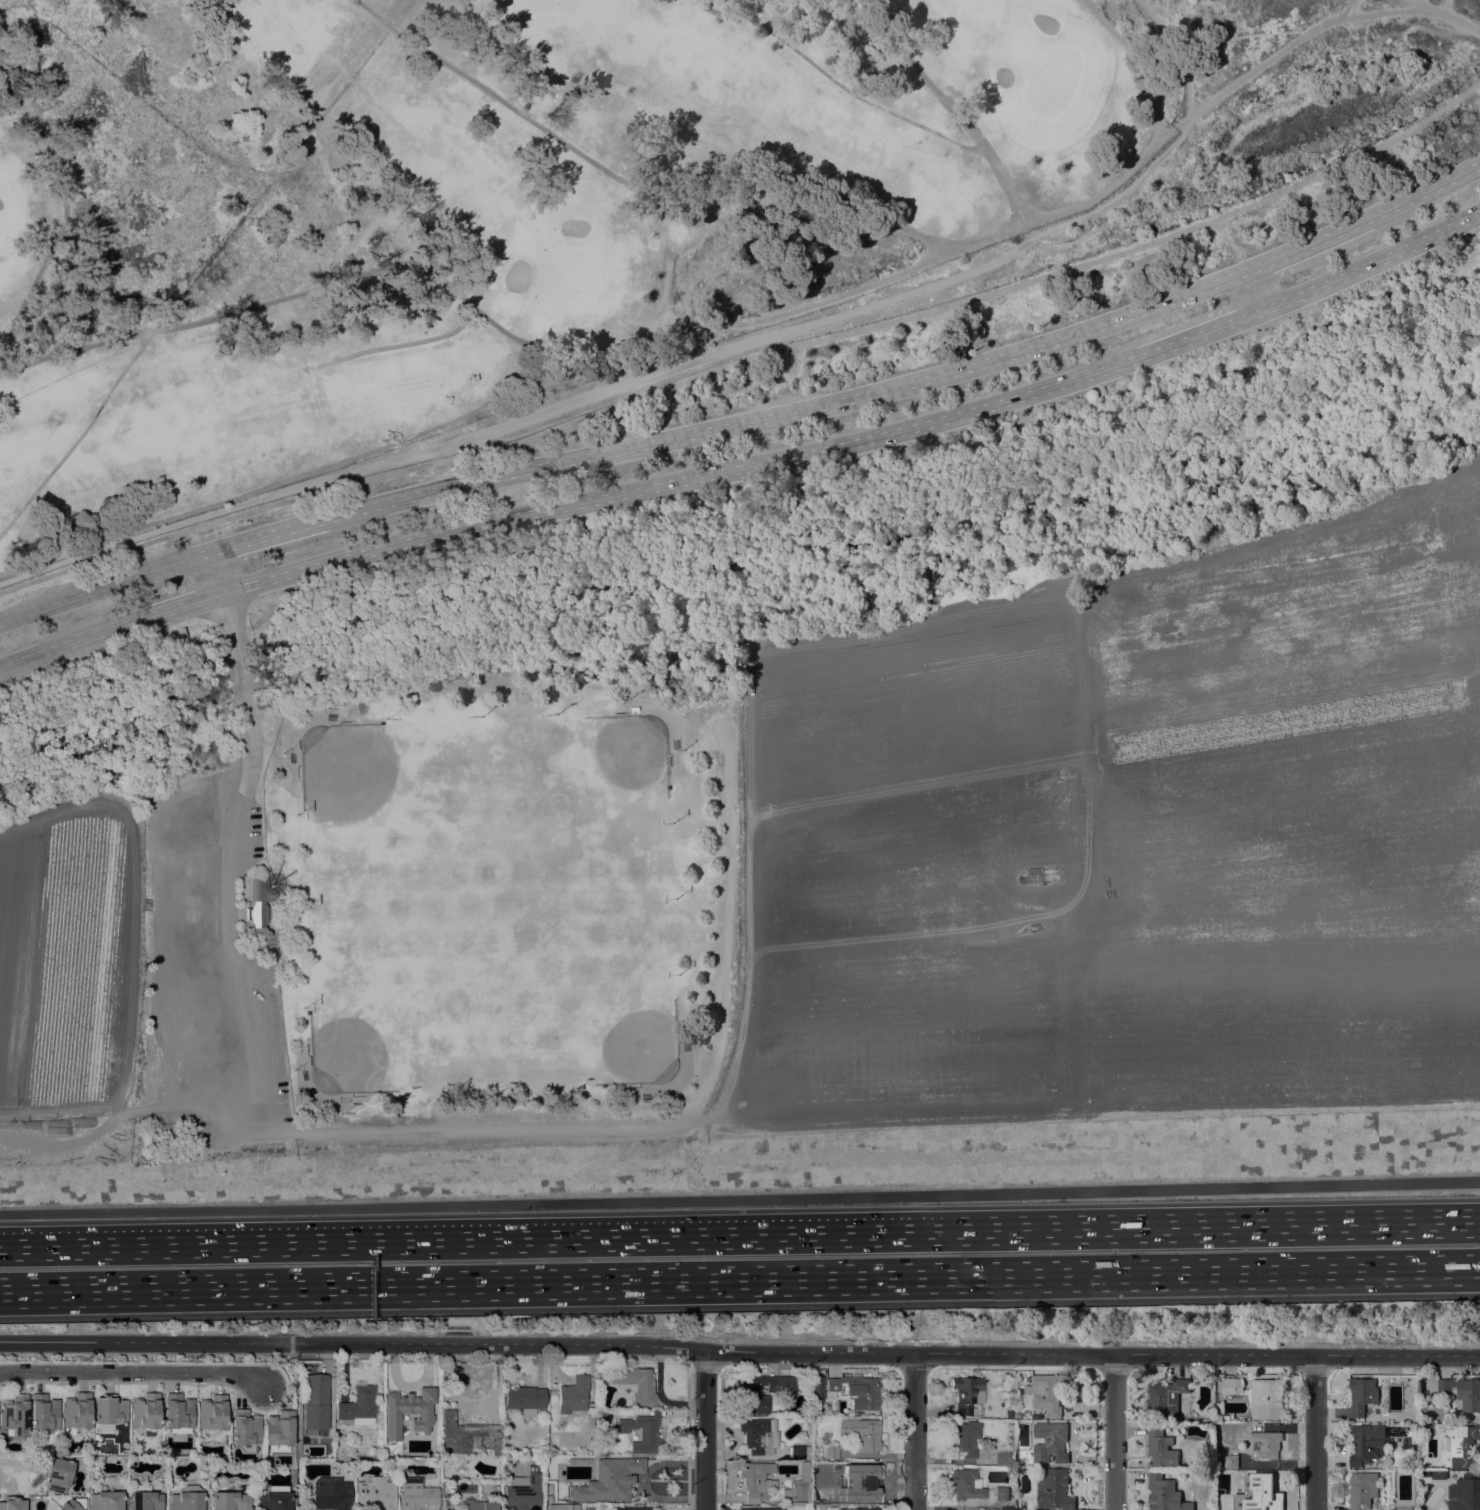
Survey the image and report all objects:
park: (540, 5)
road: (1386, 12)
road: (1448, 15)
road: (1180, 54)
road: (835, 81)
park: (1054, 81)
road: (357, 87)
road: (951, 106)
road: (562, 141)
road: (1424, 191)
road: (62, 195)
road: (796, 196)
park: (480, 208)
road: (1307, 246)
road: (1371, 260)
park: (565, 276)
road: (1253, 291)
road: (670, 314)
road: (658, 330)
road: (1200, 332)
road: (412, 341)
road: (712, 354)
road: (748, 356)
road: (792, 411)
road: (682, 478)
road: (282, 480)
road: (270, 533)
road: (216, 570)
park: (737, 577)
road: (105, 585)
road: (165, 608)
road: (54, 646)
park: (605, 771)
park: (360, 780)
crop: (1137, 837)
road: (225, 849)
building: (261, 908)
crop: (69, 953)
parking lot: (207, 967)
park: (598, 1003)
park: (377, 1017)
road: (696, 1104)
road: (1084, 1117)
building: (190, 1126)
dam: (808, 1169)
dam: (740, 1194)
road: (740, 1194)
road: (740, 1239)
road: (740, 1276)
road: (739, 1350)
road: (134, 1372)
building: (636, 1384)
building: (1230, 1386)
building: (816, 1388)
building: (857, 1391)
building: (1463, 1391)
building: (1047, 1392)
building: (966, 1393)
building: (747, 1394)
building: (1364, 1394)
building: (572, 1395)
building: (1167, 1396)
building: (1266, 1398)
building: (524, 1399)
building: (315, 1403)
building: (357, 1407)
building: (110, 1409)
building: (77, 1411)
building: (409, 1411)
building: (977, 1411)
building: (44, 1412)
building: (1184, 1412)
building: (146, 1413)
building: (179, 1414)
building: (15, 1415)
building: (213, 1415)
building: (1017, 1416)
building: (1409, 1417)
building: (1225, 1418)
building: (808, 1427)
building: (1431, 1428)
road: (704, 1429)
building: (246, 1430)
building: (280, 1431)
road: (914, 1431)
road: (1114, 1431)
road: (1315, 1432)
building: (642, 1433)
building: (861, 1433)
building: (759, 1435)
building: (469, 1436)
building: (966, 1437)
building: (1049, 1441)
building: (1265, 1443)
building: (1367, 1443)
building: (1459, 1444)
building: (1161, 1446)
building: (1409, 1447)
building: (799, 1452)
building: (831, 1452)
building: (344, 1456)
building: (291, 1457)
building: (1001, 1459)
building: (1231, 1461)
building: (1439, 1474)
building: (57, 1475)
building: (609, 1479)
building: (757, 1480)
building: (863, 1480)
building: (965, 1484)
building: (1052, 1486)
building: (798, 1487)
building: (1265, 1489)
building: (1362, 1489)
building: (548, 1490)
building: (522, 1491)
building: (1465, 1492)
building: (331, 1493)
building: (375, 1494)
building: (1001, 1494)
building: (1165, 1494)
building: (416, 1495)
building: (830, 1496)
building: (143, 1498)
building: (187, 1498)
building: (274, 1498)
building: (550, 1498)
building: (105, 1500)
building: (230, 1501)
building: (12, 1503)
building: (66, 1504)
building: (1025, 1504)
building: (1202, 1504)
building: (478, 1505)
building: (562, 1507)
building: (1229, 1507)
building: (1414, 1508)
building: (629, 1509)
building: (761, 1509)
building: (859, 1509)

